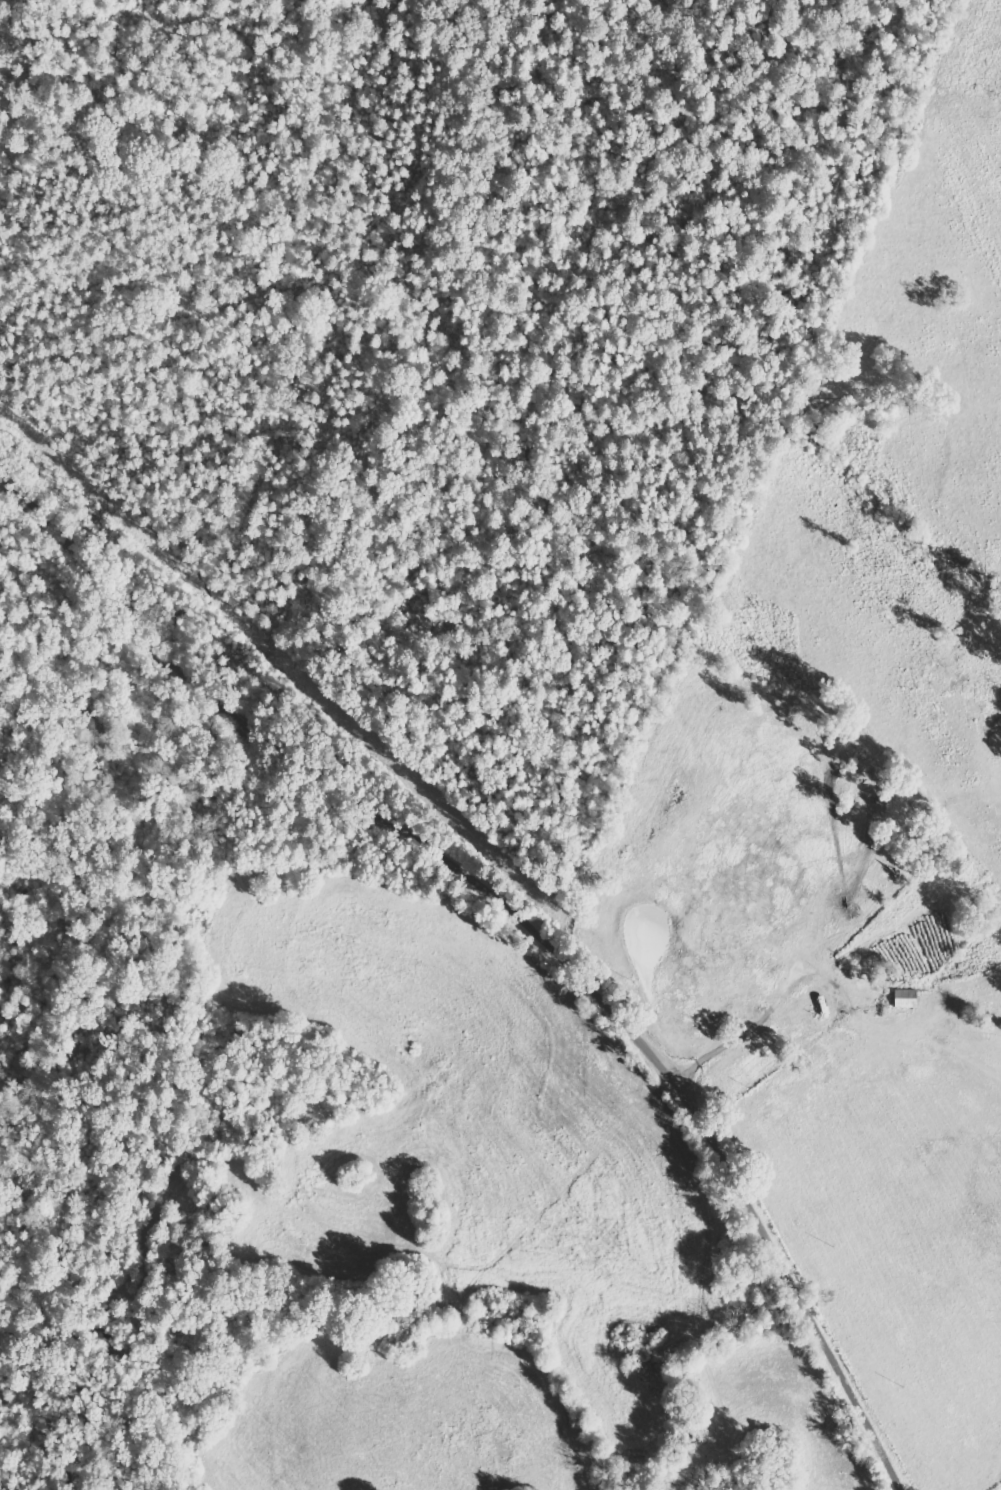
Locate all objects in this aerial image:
road: (496, 947)
building: (905, 999)

